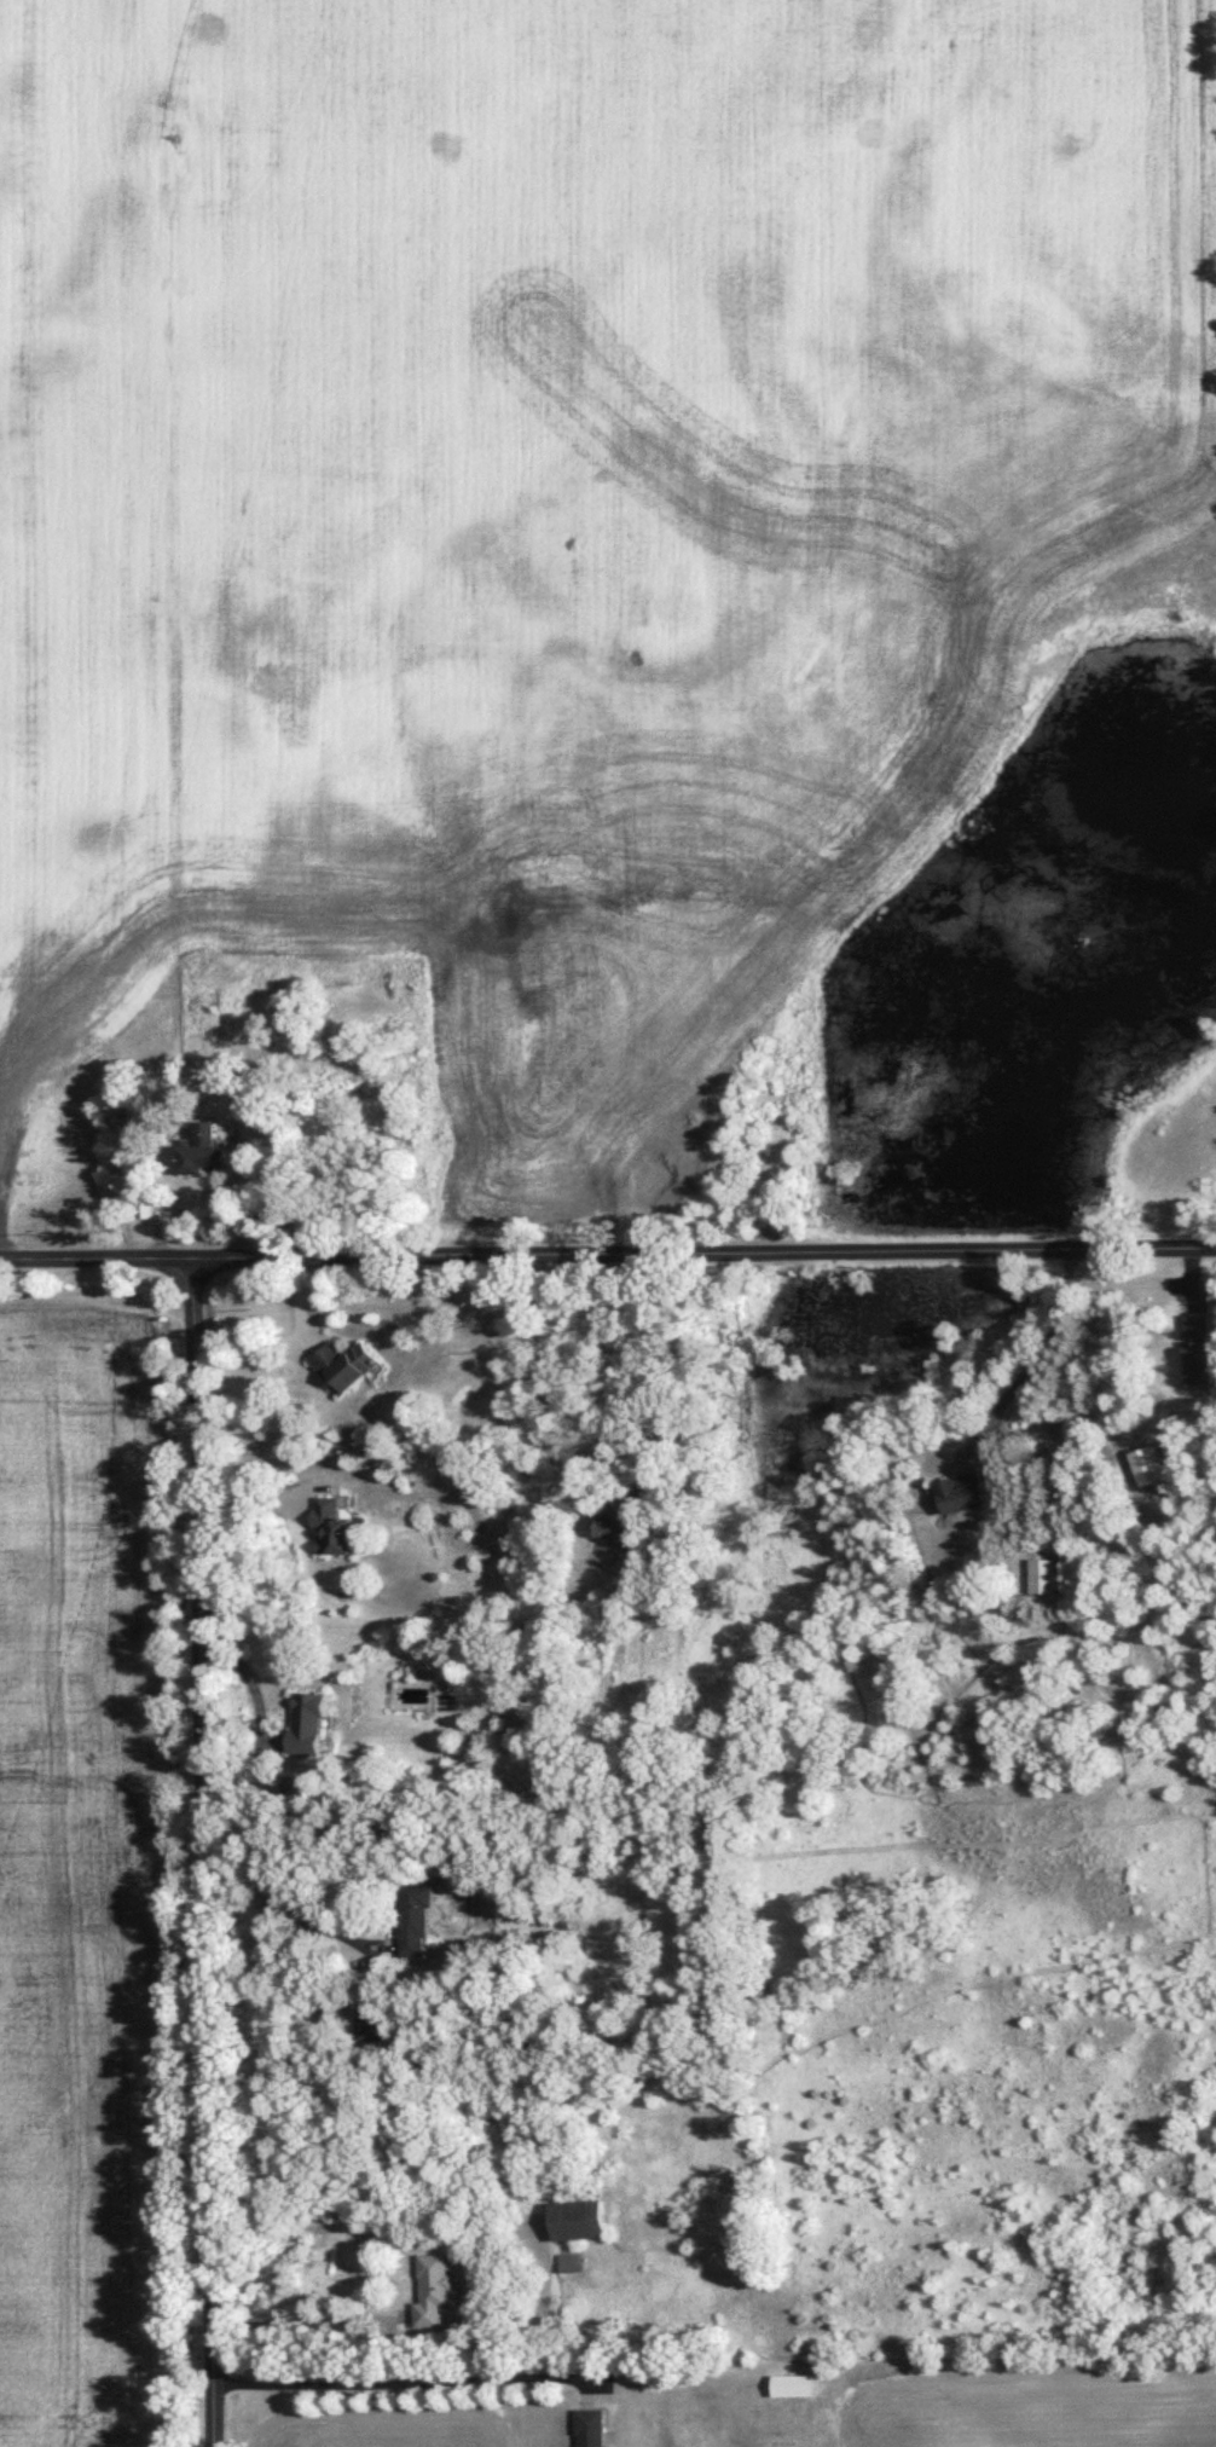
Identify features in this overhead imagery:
building: (205, 1150)
road: (608, 1256)
building: (1198, 1347)
road: (1110, 1349)
road: (1031, 1359)
building: (348, 1364)
road: (655, 1370)
building: (1150, 1464)
building: (956, 1494)
building: (621, 1521)
building: (330, 1526)
building: (1041, 1574)
road: (254, 1680)
building: (312, 1722)
road: (207, 1852)
crop: (85, 1901)
road: (303, 1915)
building: (418, 1915)
building: (435, 2289)
road: (306, 2321)
road: (400, 2379)
building: (589, 2428)

